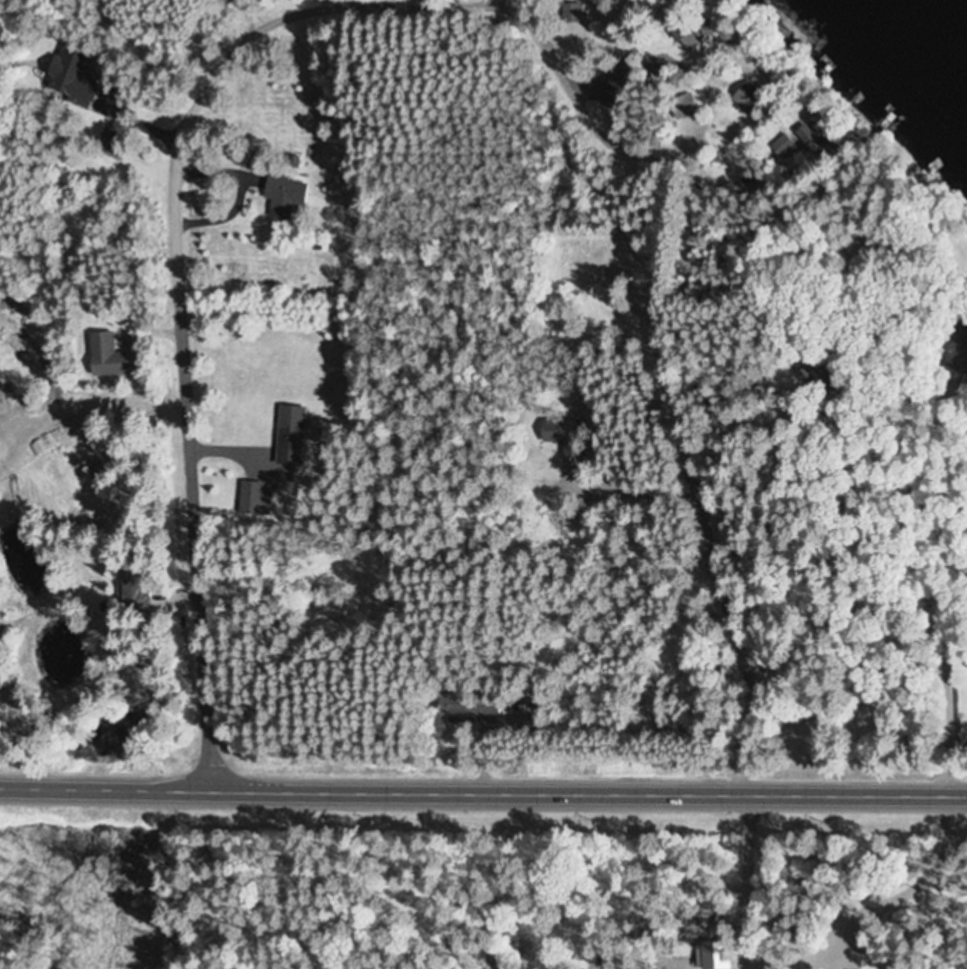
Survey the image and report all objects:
road: (269, 10)
building: (571, 11)
building: (680, 27)
building: (71, 74)
building: (747, 98)
building: (681, 107)
road: (182, 145)
building: (783, 146)
building: (815, 146)
building: (283, 195)
road: (712, 265)
building: (960, 351)
building: (104, 355)
building: (292, 432)
building: (562, 435)
road: (852, 470)
building: (251, 497)
road: (704, 504)
road: (483, 787)
building: (732, 954)

